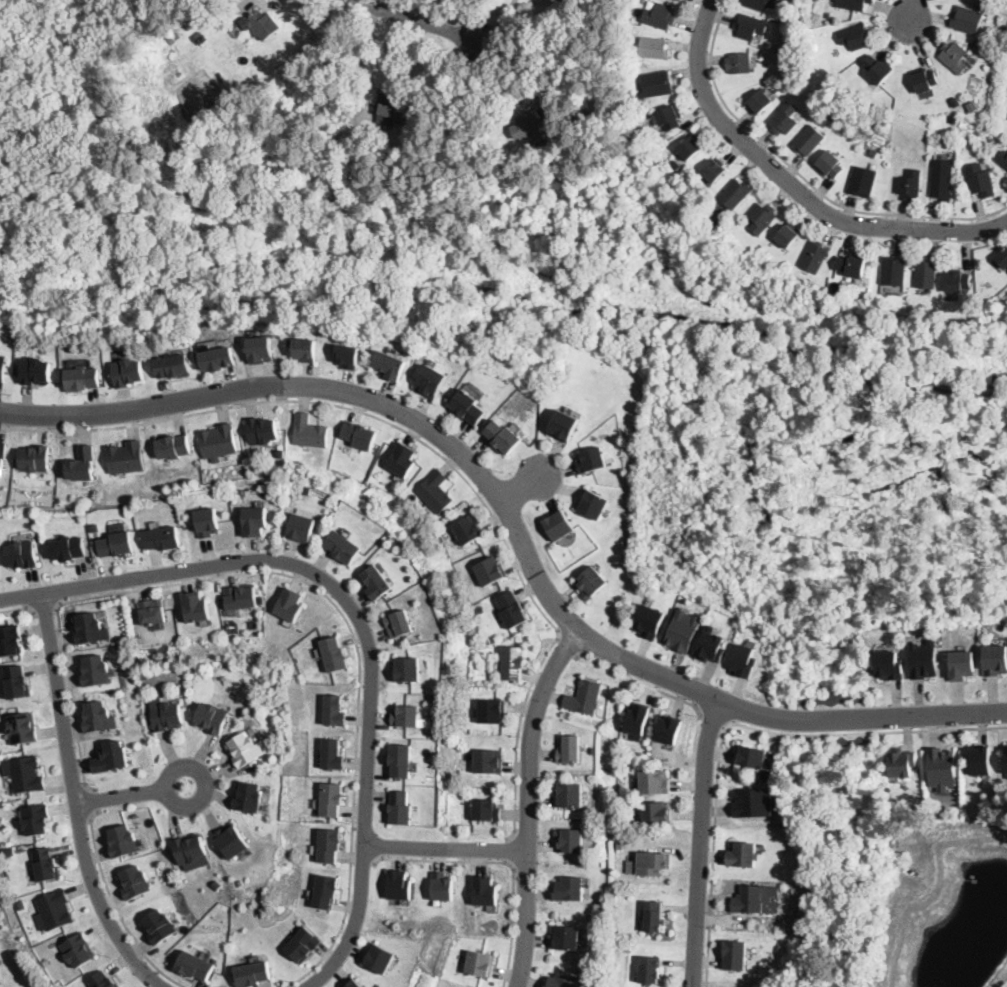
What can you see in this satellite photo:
building: (680, 0)
building: (761, 4)
building: (853, 4)
building: (636, 10)
road: (914, 10)
building: (829, 13)
building: (660, 16)
building: (967, 20)
road: (419, 22)
building: (263, 24)
building: (750, 26)
building: (856, 37)
building: (792, 46)
building: (655, 48)
building: (955, 57)
road: (364, 58)
building: (739, 63)
building: (878, 69)
building: (927, 81)
building: (657, 83)
building: (1005, 83)
building: (776, 88)
building: (968, 96)
building: (760, 102)
building: (391, 108)
building: (670, 117)
building: (955, 118)
building: (784, 119)
building: (536, 133)
building: (809, 140)
building: (991, 141)
building: (504, 147)
building: (691, 147)
building: (1002, 158)
building: (830, 165)
building: (714, 170)
road: (803, 178)
building: (980, 180)
building: (863, 181)
building: (910, 185)
building: (942, 185)
road: (793, 188)
building: (736, 193)
building: (763, 218)
building: (788, 235)
building: (815, 256)
building: (1003, 258)
building: (852, 266)
building: (894, 271)
building: (926, 274)
building: (958, 282)
building: (925, 312)
building: (951, 320)
building: (261, 348)
building: (306, 350)
building: (348, 356)
building: (220, 358)
building: (3, 365)
building: (175, 365)
building: (391, 365)
building: (38, 371)
building: (130, 371)
building: (85, 377)
building: (432, 382)
building: (469, 407)
building: (564, 426)
building: (261, 430)
building: (309, 432)
building: (359, 435)
building: (503, 437)
building: (217, 441)
building: (173, 447)
road: (433, 449)
building: (280, 452)
building: (2, 456)
building: (125, 457)
building: (34, 458)
building: (402, 460)
building: (592, 460)
building: (83, 463)
road: (522, 487)
building: (307, 488)
building: (434, 491)
building: (594, 505)
building: (254, 521)
building: (207, 522)
road: (515, 524)
building: (559, 525)
building: (95, 526)
building: (301, 528)
building: (469, 528)
building: (163, 538)
building: (116, 544)
building: (69, 546)
building: (342, 547)
building: (21, 554)
road: (303, 568)
building: (490, 571)
road: (219, 577)
building: (377, 582)
building: (591, 583)
building: (239, 597)
building: (260, 598)
building: (288, 605)
building: (194, 607)
road: (19, 608)
building: (479, 608)
road: (44, 609)
building: (511, 609)
building: (150, 611)
building: (650, 620)
building: (399, 623)
building: (89, 626)
building: (683, 629)
building: (10, 640)
building: (711, 644)
road: (569, 646)
building: (333, 654)
building: (924, 658)
building: (995, 658)
building: (745, 660)
building: (513, 662)
building: (890, 663)
building: (962, 663)
building: (407, 669)
building: (94, 672)
building: (144, 673)
building: (16, 680)
road: (641, 683)
building: (439, 695)
building: (585, 697)
building: (261, 699)
building: (333, 711)
building: (166, 713)
building: (493, 713)
building: (96, 715)
building: (212, 716)
building: (406, 716)
building: (639, 718)
road: (713, 720)
road: (737, 724)
building: (22, 727)
building: (670, 727)
building: (246, 748)
building: (570, 750)
building: (331, 754)
building: (1006, 754)
building: (753, 755)
building: (110, 756)
building: (982, 758)
building: (401, 759)
building: (627, 760)
building: (489, 761)
building: (902, 761)
building: (941, 767)
building: (26, 775)
building: (654, 781)
building: (248, 794)
road: (131, 795)
building: (570, 795)
building: (330, 799)
road: (76, 801)
building: (755, 801)
road: (92, 802)
road: (529, 803)
building: (400, 808)
building: (487, 810)
building: (657, 811)
building: (35, 819)
building: (122, 839)
building: (231, 839)
building: (570, 840)
road: (701, 842)
building: (620, 843)
building: (327, 845)
road: (445, 849)
road: (510, 850)
building: (9, 851)
building: (190, 851)
building: (743, 854)
road: (363, 861)
road: (504, 862)
building: (654, 863)
building: (46, 865)
building: (133, 882)
building: (216, 883)
building: (398, 885)
building: (442, 887)
building: (570, 889)
building: (324, 891)
building: (486, 891)
building: (757, 899)
building: (22, 904)
road: (117, 907)
building: (55, 909)
building: (653, 917)
road: (343, 921)
building: (158, 924)
road: (354, 924)
building: (566, 938)
building: (302, 945)
building: (78, 950)
building: (735, 956)
building: (378, 958)
building: (480, 964)
building: (193, 966)
building: (649, 970)
building: (250, 974)
building: (0, 979)
building: (0, 980)
building: (101, 980)
building: (562, 981)
building: (353, 983)

